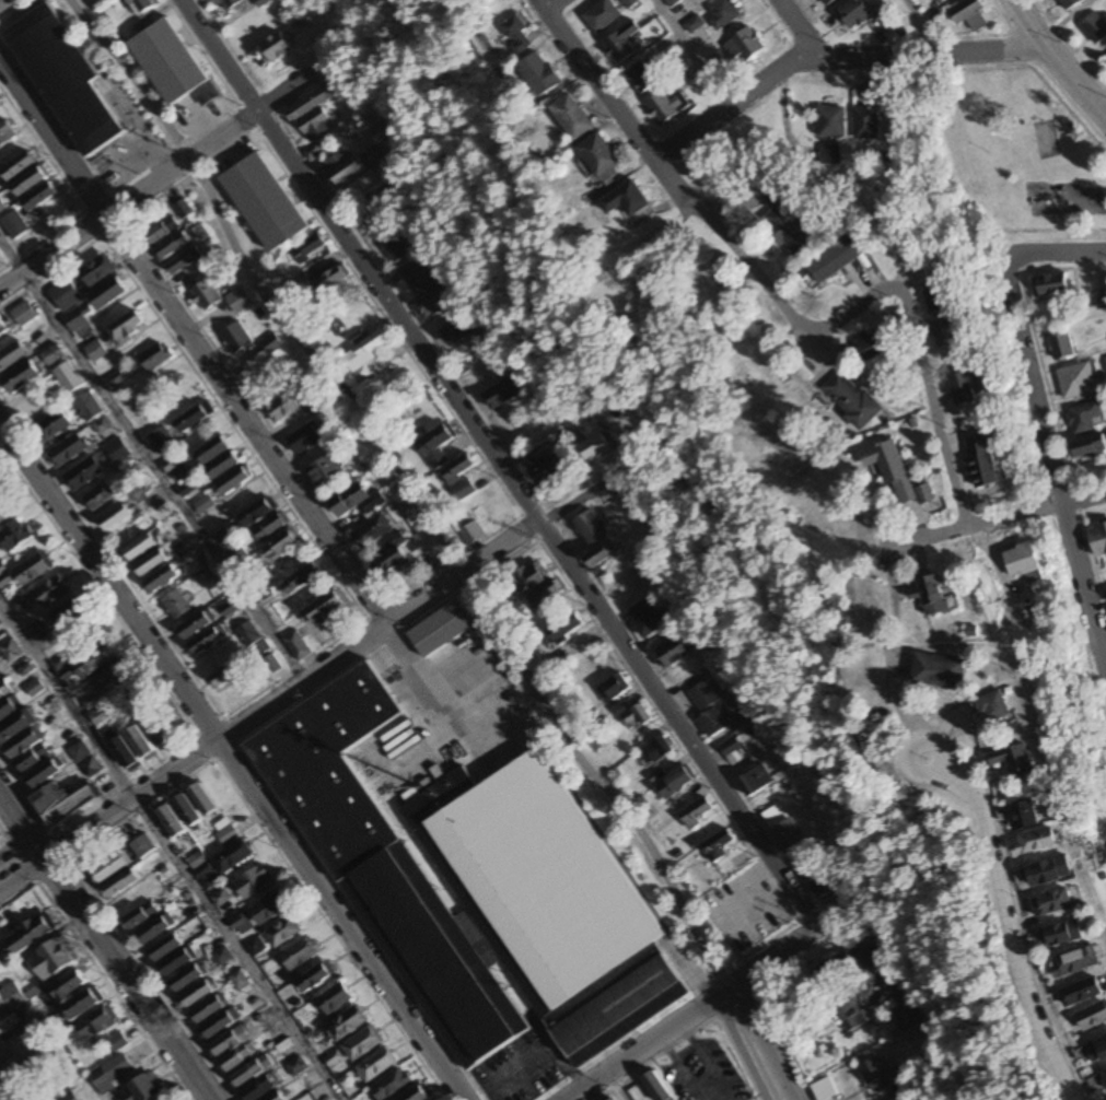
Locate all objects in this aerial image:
building: (828, 2)
road: (545, 3)
building: (629, 3)
building: (1072, 3)
building: (225, 4)
building: (7, 5)
building: (140, 5)
building: (723, 13)
building: (855, 13)
building: (970, 14)
building: (601, 15)
road: (923, 25)
road: (787, 27)
building: (515, 35)
building: (620, 44)
building: (744, 46)
building: (275, 47)
road: (690, 50)
road: (829, 55)
road: (1055, 60)
building: (171, 65)
building: (538, 73)
building: (65, 79)
building: (641, 79)
building: (666, 107)
building: (312, 113)
building: (571, 117)
building: (830, 122)
building: (866, 124)
building: (5, 132)
park: (1044, 138)
building: (827, 155)
park: (1024, 159)
building: (599, 161)
building: (18, 166)
road: (655, 166)
building: (344, 167)
building: (30, 180)
road: (165, 183)
building: (39, 197)
building: (626, 200)
building: (264, 202)
building: (372, 213)
building: (13, 224)
building: (787, 231)
building: (161, 232)
building: (172, 247)
building: (307, 248)
building: (398, 248)
road: (1060, 250)
building: (835, 259)
building: (183, 262)
building: (96, 271)
building: (417, 277)
building: (329, 280)
building: (1055, 284)
building: (107, 294)
building: (63, 295)
building: (206, 296)
building: (940, 297)
building: (1101, 300)
building: (238, 301)
building: (436, 301)
building: (24, 315)
road: (847, 317)
building: (75, 321)
building: (126, 328)
building: (2, 329)
building: (457, 331)
building: (946, 335)
building: (235, 339)
road: (191, 342)
building: (870, 344)
building: (270, 346)
building: (1062, 346)
building: (95, 351)
building: (53, 355)
building: (12, 356)
building: (155, 358)
building: (363, 358)
building: (1105, 358)
building: (20, 378)
building: (68, 378)
building: (1078, 381)
building: (963, 388)
building: (499, 395)
building: (851, 400)
building: (313, 405)
building: (88, 408)
building: (282, 409)
road: (934, 410)
building: (1085, 418)
building: (194, 419)
building: (102, 426)
building: (49, 429)
building: (304, 440)
building: (162, 442)
building: (435, 446)
building: (1090, 446)
building: (594, 448)
building: (68, 452)
building: (117, 452)
building: (212, 452)
road: (1049, 454)
road: (152, 457)
building: (983, 463)
road: (500, 464)
building: (223, 467)
building: (544, 467)
building: (326, 470)
building: (178, 473)
building: (895, 473)
building: (83, 475)
building: (458, 478)
building: (234, 482)
building: (97, 499)
building: (356, 502)
building: (205, 505)
building: (257, 513)
road: (547, 514)
building: (1, 518)
building: (115, 518)
road: (996, 518)
building: (270, 528)
building: (590, 528)
building: (372, 533)
building: (470, 533)
building: (14, 537)
building: (1098, 540)
road: (438, 542)
building: (281, 545)
building: (139, 548)
building: (602, 554)
building: (1022, 561)
building: (389, 562)
building: (150, 564)
building: (32, 570)
building: (302, 577)
building: (161, 580)
building: (528, 580)
building: (51, 592)
building: (931, 596)
building: (545, 597)
building: (175, 605)
building: (325, 609)
building: (68, 616)
building: (644, 619)
building: (195, 624)
building: (566, 629)
building: (440, 630)
building: (246, 634)
building: (206, 641)
building: (296, 645)
building: (10, 652)
building: (673, 652)
building: (93, 660)
building: (938, 671)
building: (226, 674)
building: (108, 679)
building: (35, 688)
building: (3, 689)
building: (613, 689)
road: (427, 695)
building: (9, 707)
building: (992, 707)
building: (707, 709)
building: (98, 716)
building: (156, 732)
road: (228, 732)
building: (23, 742)
building: (139, 742)
building: (659, 749)
building: (732, 749)
building: (121, 750)
building: (79, 752)
building: (1012, 760)
road: (225, 761)
building: (91, 768)
building: (43, 775)
building: (754, 780)
building: (674, 784)
building: (202, 800)
building: (60, 804)
building: (187, 811)
building: (697, 814)
building: (1022, 817)
building: (171, 822)
building: (781, 827)
building: (226, 835)
building: (1035, 843)
building: (718, 846)
building: (142, 847)
road: (171, 847)
building: (0, 858)
building: (232, 858)
building: (108, 869)
building: (1048, 873)
building: (205, 877)
building: (818, 881)
building: (252, 883)
building: (120, 885)
building: (476, 888)
building: (219, 899)
building: (1050, 904)
building: (268, 909)
building: (139, 918)
road: (1012, 920)
building: (155, 931)
building: (283, 932)
building: (1069, 934)
building: (28, 935)
road: (103, 947)
building: (255, 947)
building: (165, 948)
building: (300, 955)
building: (221, 957)
building: (865, 960)
building: (50, 961)
building: (176, 962)
building: (1074, 964)
building: (833, 970)
building: (315, 979)
building: (185, 980)
building: (238, 982)
building: (68, 987)
building: (195, 995)
building: (1081, 995)
building: (13, 996)
building: (334, 999)
building: (2, 1006)
building: (81, 1006)
building: (208, 1009)
road: (696, 1011)
building: (853, 1014)
building: (1091, 1020)
building: (9, 1025)
building: (219, 1025)
building: (347, 1025)
building: (96, 1026)
building: (116, 1042)
road: (766, 1042)
building: (362, 1044)
road: (743, 1049)
building: (233, 1050)
building: (1099, 1051)
building: (57, 1052)
building: (376, 1065)
building: (296, 1067)
building: (30, 1069)
building: (251, 1073)
building: (109, 1074)
building: (876, 1076)
building: (1103, 1079)
building: (392, 1085)
road: (616, 1086)
building: (655, 1087)
building: (141, 1089)
building: (259, 1089)
building: (38, 1090)
building: (823, 1090)
building: (420, 1095)
road: (2, 1096)
building: (67, 1096)
road: (929, 1097)
building: (609, 1099)

